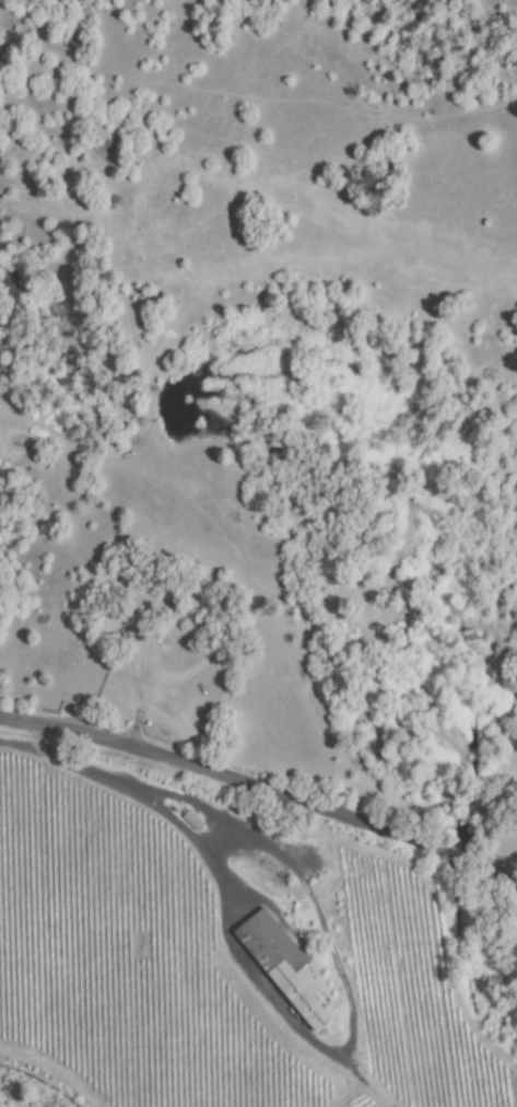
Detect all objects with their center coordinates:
building: (174, 613)
building: (126, 630)
building: (131, 656)
road: (262, 792)
building: (193, 819)
building: (282, 964)

